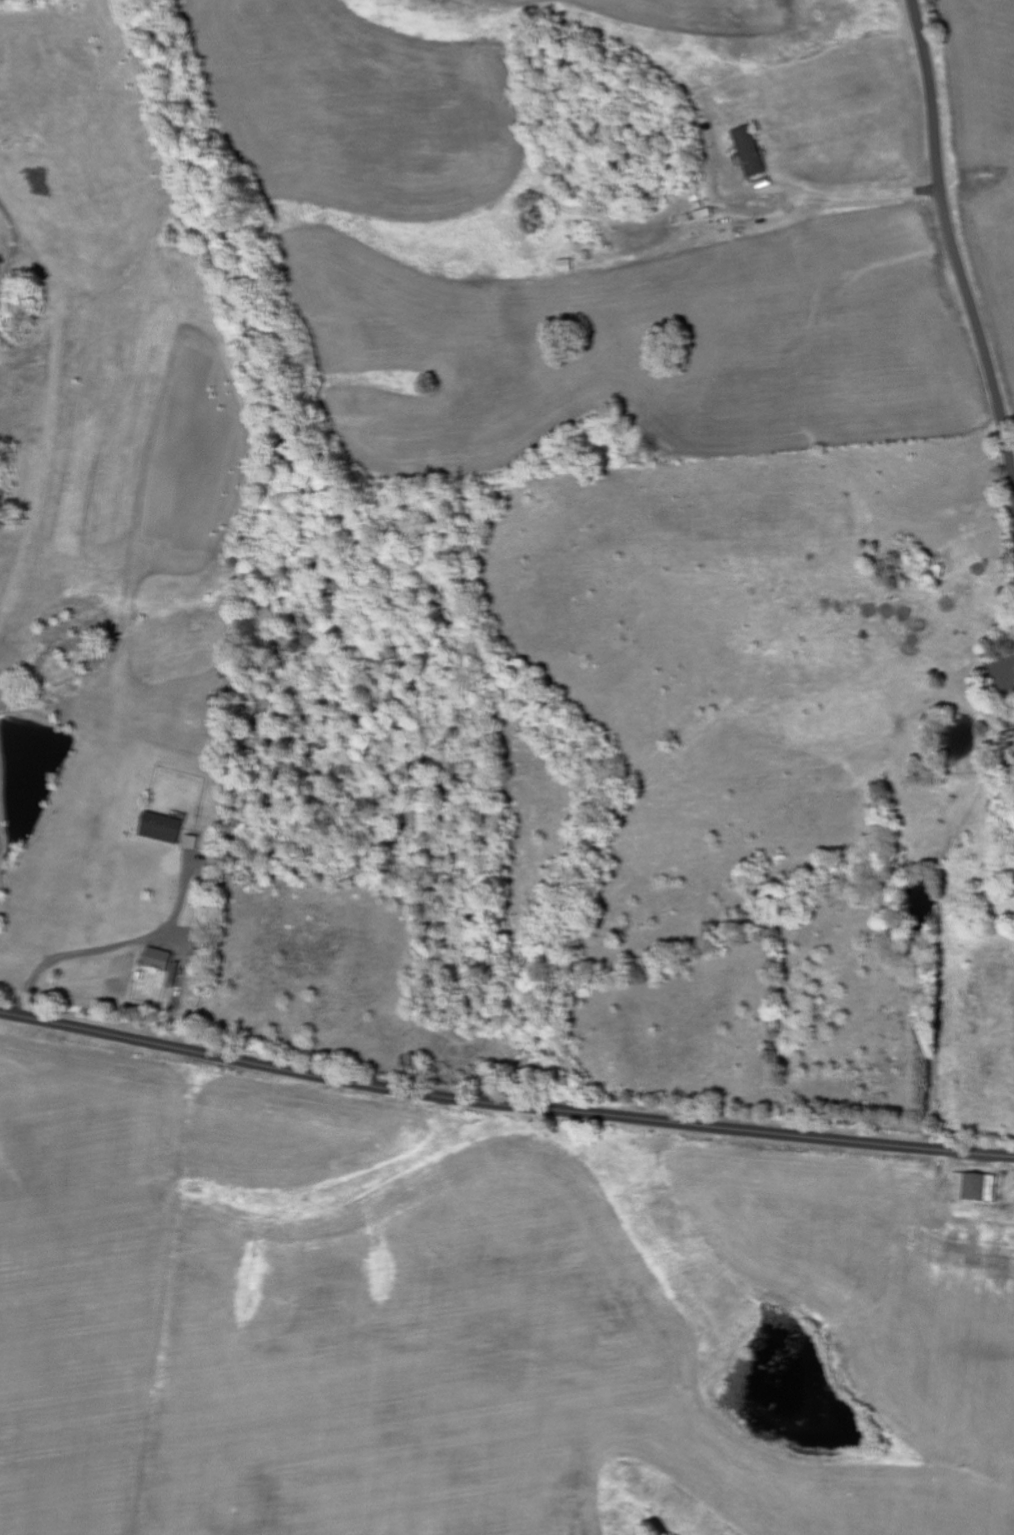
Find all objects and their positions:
building: (751, 151)
road: (952, 242)
building: (567, 266)
building: (1009, 741)
building: (164, 828)
building: (194, 843)
building: (162, 960)
road: (504, 1105)
building: (978, 1187)

